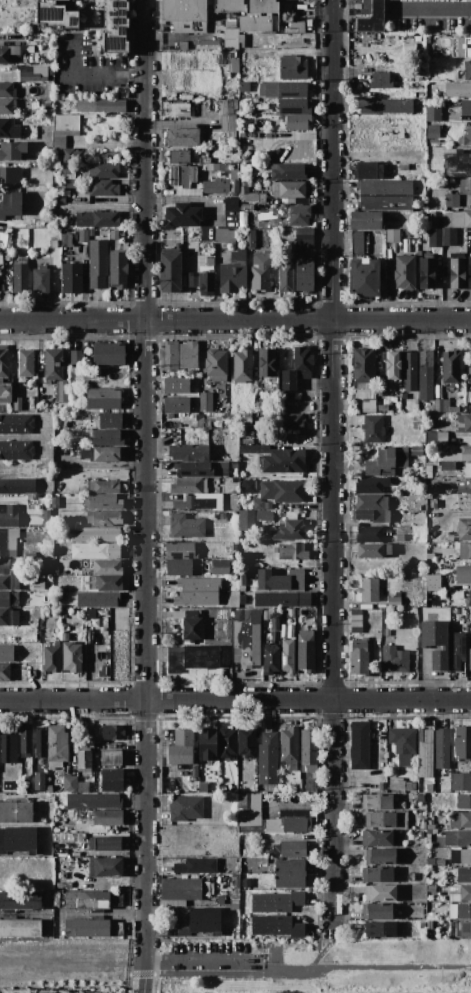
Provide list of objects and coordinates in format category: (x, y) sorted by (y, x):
building: (358, 6)
building: (361, 9)
building: (250, 13)
road: (429, 14)
building: (57, 15)
building: (185, 15)
building: (372, 18)
building: (219, 22)
building: (230, 22)
building: (116, 27)
building: (295, 27)
building: (163, 30)
building: (378, 35)
building: (231, 39)
building: (241, 40)
building: (206, 44)
building: (183, 45)
building: (464, 47)
building: (51, 48)
building: (15, 49)
building: (47, 53)
building: (4, 54)
building: (232, 54)
building: (26, 57)
building: (47, 59)
building: (13, 67)
building: (233, 67)
building: (292, 67)
building: (467, 69)
building: (31, 74)
road: (85, 75)
building: (271, 75)
building: (3, 78)
building: (381, 81)
building: (282, 89)
building: (458, 89)
building: (7, 90)
building: (121, 92)
building: (49, 96)
building: (186, 96)
building: (46, 100)
building: (256, 100)
building: (216, 101)
building: (88, 102)
building: (385, 105)
building: (6, 106)
building: (48, 106)
building: (109, 106)
building: (466, 107)
building: (179, 109)
building: (47, 111)
building: (295, 112)
building: (433, 113)
building: (227, 114)
building: (39, 118)
building: (66, 122)
building: (9, 128)
building: (50, 128)
building: (433, 131)
building: (182, 136)
building: (467, 136)
building: (62, 137)
building: (434, 140)
building: (460, 140)
building: (13, 150)
building: (48, 150)
building: (72, 155)
building: (179, 156)
building: (201, 159)
building: (457, 164)
building: (208, 166)
building: (81, 167)
building: (219, 167)
building: (61, 168)
building: (103, 170)
building: (367, 170)
building: (69, 171)
building: (288, 171)
building: (10, 174)
building: (61, 175)
building: (182, 176)
building: (242, 183)
building: (59, 184)
building: (443, 184)
building: (216, 186)
building: (234, 186)
building: (385, 186)
building: (470, 187)
building: (101, 188)
building: (287, 188)
building: (243, 190)
building: (234, 194)
building: (261, 197)
building: (248, 198)
building: (291, 200)
building: (452, 200)
building: (231, 203)
building: (388, 203)
building: (10, 204)
building: (280, 206)
building: (299, 214)
building: (182, 215)
building: (97, 219)
building: (446, 219)
building: (457, 219)
building: (467, 219)
building: (366, 220)
building: (428, 224)
building: (410, 231)
building: (424, 232)
building: (1, 234)
building: (393, 234)
building: (84, 235)
building: (224, 235)
building: (449, 236)
building: (251, 238)
building: (435, 238)
building: (67, 239)
building: (6, 240)
building: (357, 242)
building: (54, 243)
building: (419, 253)
building: (304, 258)
building: (209, 261)
building: (97, 263)
building: (118, 269)
building: (206, 269)
building: (170, 270)
building: (261, 271)
building: (405, 271)
building: (233, 272)
building: (426, 273)
building: (457, 273)
building: (469, 273)
building: (286, 277)
building: (20, 278)
building: (71, 278)
building: (41, 279)
building: (363, 279)
building: (202, 282)
road: (235, 321)
building: (108, 353)
building: (168, 355)
building: (188, 355)
building: (76, 357)
building: (4, 361)
building: (302, 361)
building: (26, 362)
building: (267, 362)
building: (53, 364)
building: (216, 364)
building: (394, 364)
building: (363, 365)
building: (242, 366)
building: (451, 366)
building: (410, 371)
building: (469, 373)
building: (426, 375)
building: (288, 380)
building: (268, 383)
building: (176, 385)
building: (398, 386)
building: (382, 392)
building: (5, 393)
building: (61, 393)
building: (404, 395)
building: (366, 397)
building: (103, 398)
building: (396, 399)
building: (206, 401)
building: (17, 403)
building: (176, 404)
building: (444, 406)
building: (3, 407)
building: (387, 407)
building: (469, 409)
building: (208, 417)
building: (199, 418)
building: (110, 419)
building: (289, 420)
building: (418, 420)
building: (442, 420)
building: (245, 422)
building: (464, 422)
building: (16, 423)
building: (372, 428)
building: (246, 434)
building: (107, 437)
building: (442, 438)
building: (251, 441)
building: (253, 448)
building: (465, 448)
building: (16, 450)
building: (417, 451)
building: (188, 452)
building: (102, 454)
building: (284, 460)
building: (381, 462)
road: (334, 463)
road: (146, 464)
building: (236, 464)
building: (198, 470)
building: (467, 470)
building: (231, 479)
building: (17, 485)
building: (369, 485)
building: (103, 486)
building: (188, 486)
building: (465, 489)
building: (82, 490)
building: (282, 490)
building: (30, 496)
building: (35, 496)
building: (429, 496)
building: (102, 501)
building: (190, 501)
building: (55, 502)
building: (371, 502)
building: (198, 503)
building: (434, 503)
building: (258, 505)
building: (268, 505)
building: (420, 506)
building: (410, 507)
building: (10, 515)
building: (264, 515)
building: (291, 515)
building: (371, 515)
building: (421, 515)
building: (47, 516)
building: (222, 516)
building: (105, 518)
building: (281, 523)
building: (186, 525)
building: (464, 529)
building: (289, 530)
building: (370, 533)
building: (450, 533)
building: (94, 534)
building: (450, 539)
building: (8, 542)
building: (456, 545)
building: (69, 547)
building: (373, 549)
building: (96, 550)
building: (181, 550)
building: (465, 550)
building: (291, 551)
building: (41, 556)
building: (243, 557)
building: (4, 566)
building: (16, 566)
building: (179, 566)
building: (107, 567)
building: (220, 567)
building: (463, 574)
building: (280, 579)
building: (5, 582)
building: (14, 582)
building: (108, 582)
building: (433, 582)
building: (411, 588)
building: (369, 589)
building: (198, 591)
building: (26, 596)
building: (62, 597)
building: (224, 597)
building: (7, 598)
building: (97, 598)
building: (282, 599)
building: (468, 600)
building: (393, 601)
building: (244, 603)
building: (410, 612)
building: (302, 613)
building: (63, 614)
building: (178, 614)
building: (356, 614)
building: (275, 615)
building: (5, 616)
building: (274, 624)
building: (192, 625)
building: (356, 626)
building: (66, 628)
building: (7, 630)
building: (387, 632)
building: (65, 636)
building: (290, 636)
building: (246, 637)
building: (435, 642)
building: (458, 649)
building: (222, 650)
building: (305, 650)
building: (6, 652)
building: (287, 655)
building: (52, 657)
building: (72, 657)
building: (201, 657)
building: (271, 658)
building: (175, 659)
building: (359, 659)
building: (395, 659)
building: (469, 660)
building: (4, 671)
road: (235, 700)
building: (112, 732)
building: (442, 735)
building: (403, 739)
building: (25, 741)
building: (228, 742)
building: (246, 742)
building: (40, 743)
building: (57, 743)
building: (207, 743)
building: (462, 743)
building: (359, 745)
building: (289, 746)
building: (309, 746)
building: (181, 747)
building: (8, 748)
building: (426, 752)
building: (267, 753)
building: (442, 755)
building: (112, 758)
building: (405, 759)
building: (84, 762)
building: (207, 763)
building: (182, 766)
building: (194, 771)
building: (443, 773)
building: (10, 776)
building: (24, 776)
building: (111, 780)
building: (461, 782)
building: (69, 783)
building: (397, 783)
building: (14, 785)
building: (311, 785)
building: (382, 785)
building: (410, 786)
building: (83, 787)
building: (429, 787)
building: (49, 788)
building: (203, 788)
building: (222, 788)
building: (232, 788)
building: (422, 788)
building: (93, 800)
building: (377, 801)
building: (463, 801)
building: (423, 807)
building: (185, 808)
building: (16, 812)
building: (250, 812)
building: (81, 813)
building: (105, 816)
building: (380, 819)
building: (465, 819)
building: (402, 820)
building: (289, 824)
building: (64, 825)
building: (77, 827)
building: (430, 834)
building: (59, 835)
building: (64, 836)
building: (69, 836)
building: (75, 836)
building: (450, 837)
building: (21, 838)
building: (274, 838)
building: (379, 838)
building: (464, 838)
building: (2, 841)
building: (105, 842)
building: (293, 847)
building: (277, 849)
building: (39, 850)
building: (268, 852)
building: (382, 856)
building: (455, 856)
building: (465, 856)
building: (440, 862)
building: (196, 866)
building: (105, 867)
building: (422, 869)
building: (290, 873)
building: (377, 874)
building: (464, 874)
building: (246, 882)
building: (65, 885)
building: (257, 887)
building: (431, 888)
building: (179, 890)
building: (244, 892)
building: (382, 893)
building: (465, 893)
building: (454, 897)
building: (115, 899)
building: (86, 900)
building: (237, 900)
building: (19, 901)
building: (276, 901)
building: (231, 907)
building: (377, 911)
building: (464, 911)
building: (431, 915)
building: (205, 919)
building: (180, 920)
building: (245, 924)
building: (422, 924)
building: (429, 924)
building: (276, 925)
building: (87, 927)
building: (21, 928)
building: (116, 928)
building: (465, 928)
building: (381, 929)
building: (455, 929)
road: (322, 952)
road: (146, 961)
road: (201, 963)
park: (315, 965)
road: (142, 974)
road: (311, 974)
road: (132, 983)

